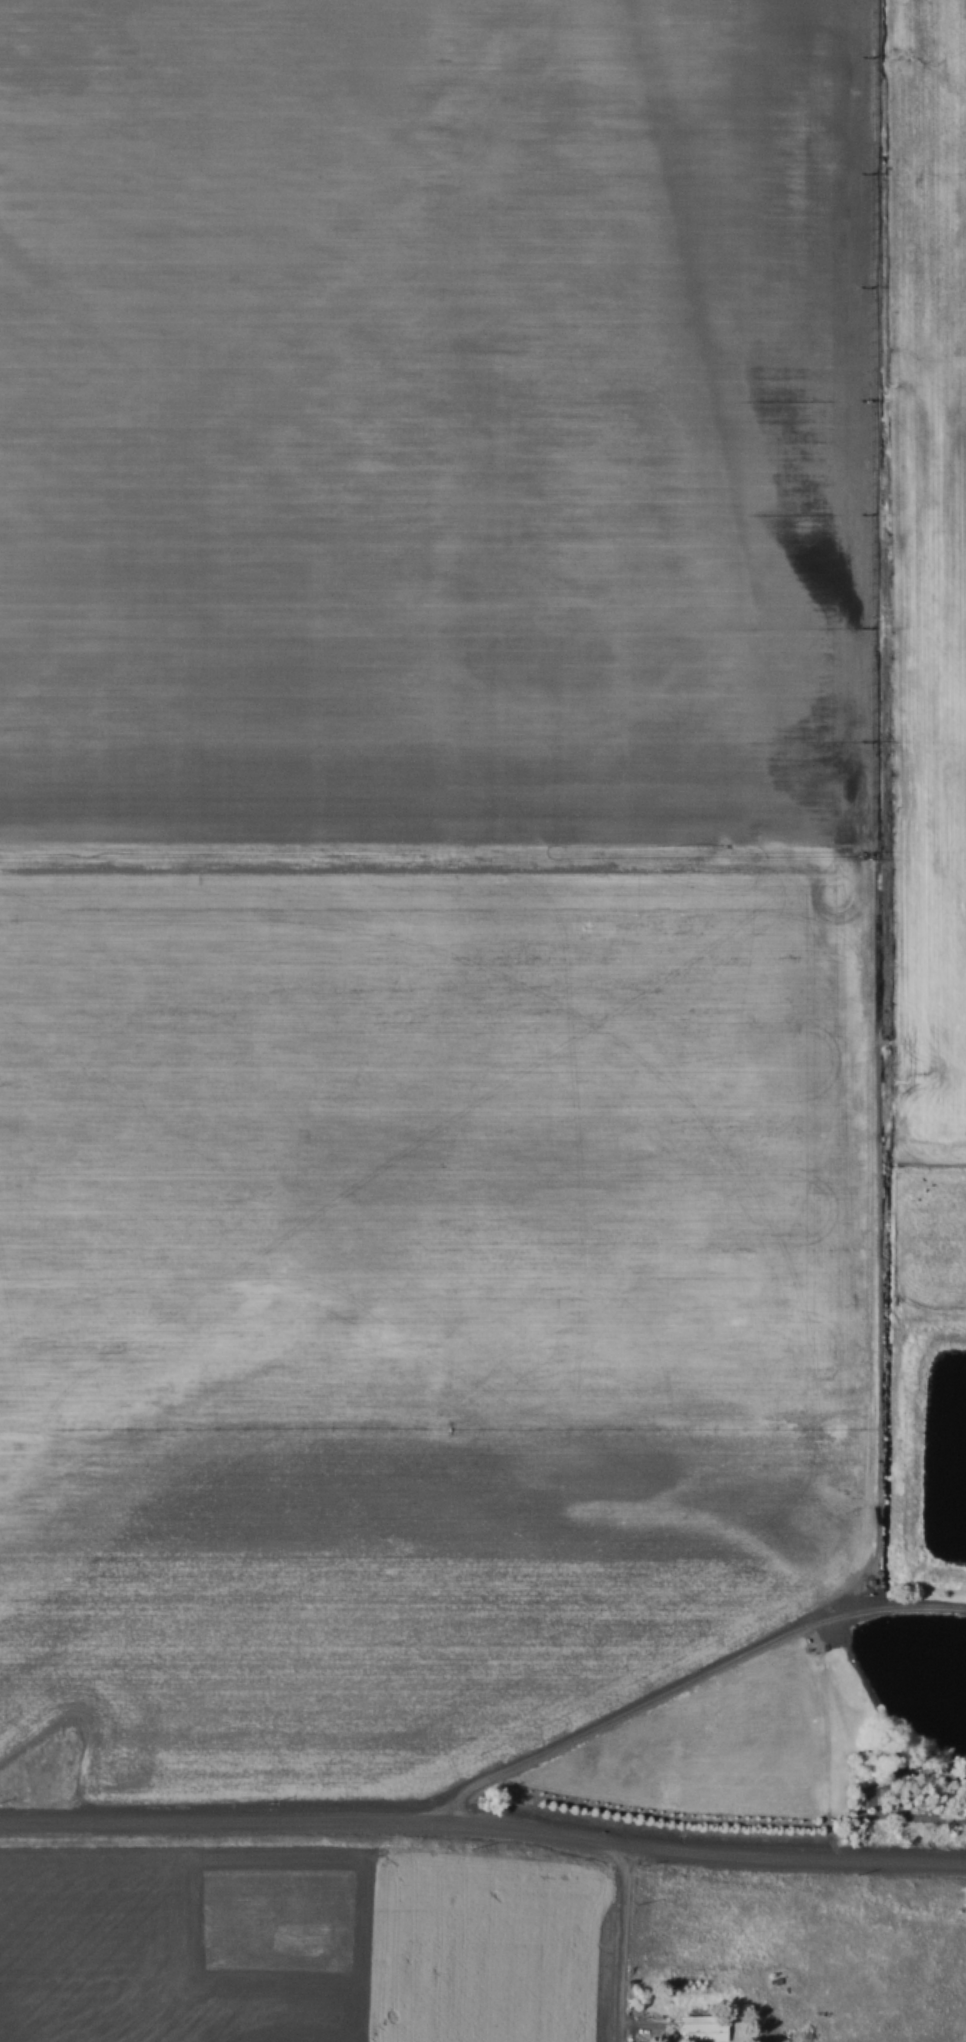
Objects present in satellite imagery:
road: (693, 1680)
road: (484, 1821)
building: (702, 2028)

